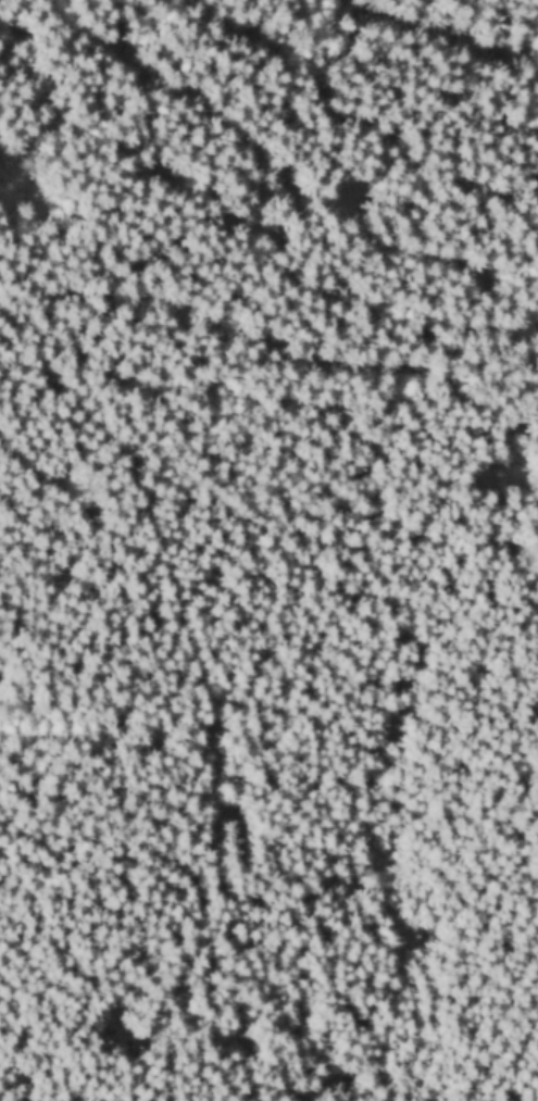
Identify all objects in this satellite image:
road: (134, 830)

